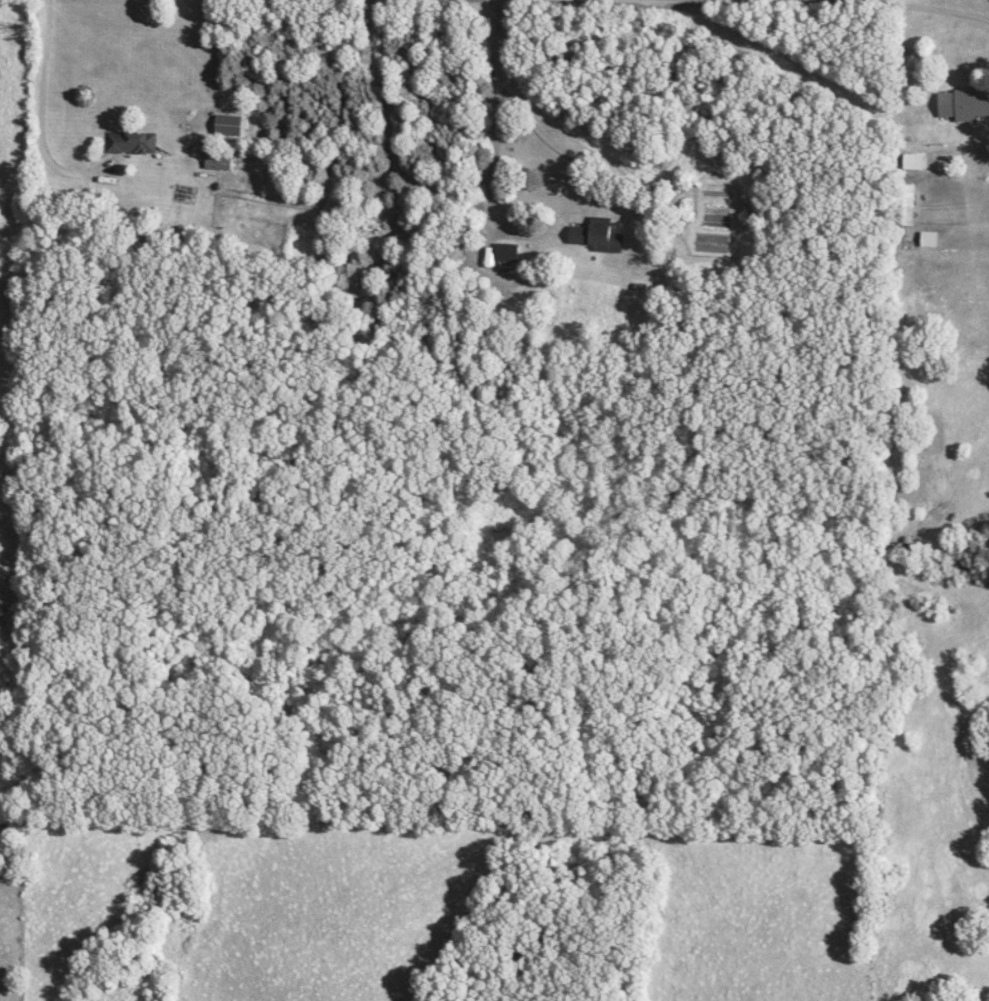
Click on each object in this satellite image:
road: (937, 11)
building: (959, 106)
road: (32, 117)
road: (494, 119)
building: (233, 126)
building: (133, 144)
road: (566, 156)
building: (909, 162)
building: (221, 164)
building: (903, 205)
building: (598, 237)
building: (509, 253)

